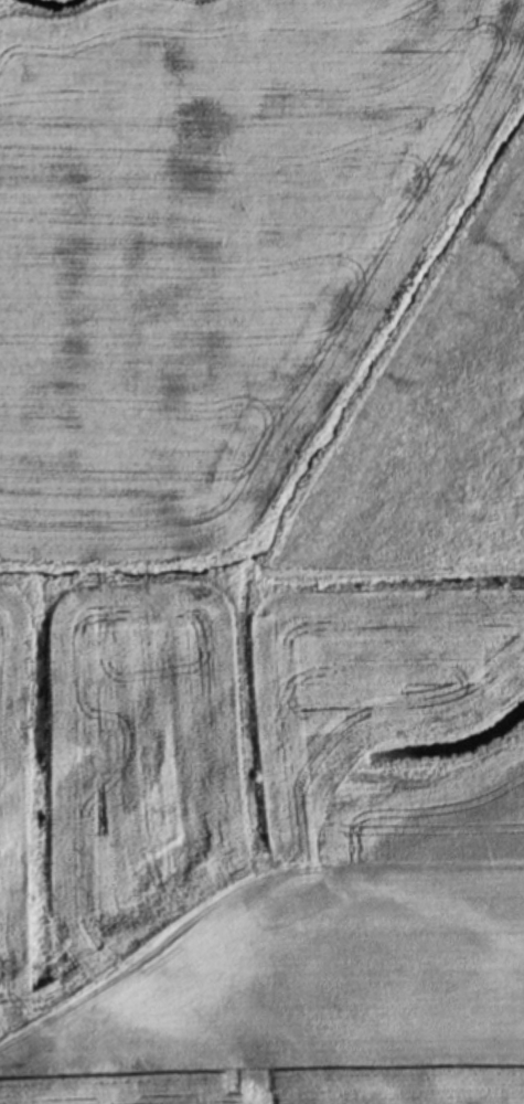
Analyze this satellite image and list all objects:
river: (4, 2)
river: (49, 8)

